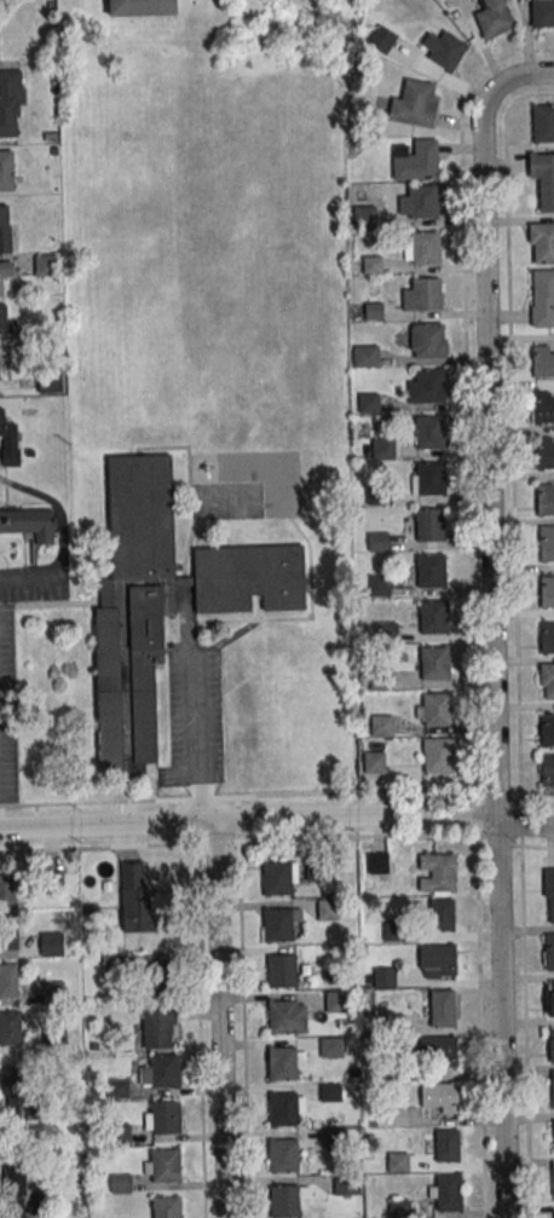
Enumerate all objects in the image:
building: (140, 7)
building: (542, 13)
building: (494, 17)
building: (434, 51)
building: (10, 100)
building: (414, 103)
building: (543, 123)
building: (415, 160)
building: (6, 171)
building: (543, 178)
building: (422, 201)
building: (4, 227)
building: (542, 242)
building: (425, 248)
building: (46, 265)
building: (5, 272)
building: (426, 294)
building: (542, 298)
building: (6, 327)
building: (428, 339)
building: (365, 356)
building: (542, 360)
building: (48, 383)
building: (428, 385)
building: (369, 403)
building: (543, 406)
building: (429, 432)
building: (8, 441)
building: (382, 448)
building: (544, 452)
building: (431, 478)
building: (544, 498)
road: (58, 509)
building: (28, 523)
building: (429, 524)
building: (377, 542)
building: (547, 544)
building: (431, 570)
road: (29, 578)
building: (379, 584)
building: (547, 590)
building: (163, 602)
building: (433, 616)
road: (491, 620)
building: (547, 637)
building: (434, 663)
building: (546, 681)
building: (437, 709)
parking lot: (194, 715)
road: (194, 722)
building: (382, 725)
building: (547, 729)
building: (438, 755)
building: (375, 762)
building: (547, 768)
road: (277, 793)
road: (277, 818)
road: (396, 835)
building: (377, 862)
building: (440, 872)
building: (277, 878)
building: (7, 889)
building: (549, 890)
building: (135, 896)
building: (328, 908)
building: (442, 913)
building: (278, 924)
building: (393, 930)
building: (8, 933)
building: (51, 943)
building: (549, 953)
building: (437, 960)
building: (281, 969)
building: (160, 977)
building: (385, 977)
building: (8, 980)
building: (53, 992)
building: (552, 997)
building: (336, 1001)
building: (443, 1008)
building: (282, 1017)
road: (220, 1020)
building: (10, 1027)
road: (243, 1029)
building: (156, 1031)
building: (56, 1039)
building: (552, 1045)
building: (331, 1047)
building: (438, 1052)
building: (283, 1063)
building: (165, 1072)
building: (12, 1083)
building: (553, 1087)
building: (329, 1091)
building: (439, 1097)
building: (283, 1108)
building: (396, 1115)
building: (165, 1116)
road: (202, 1120)
building: (553, 1135)
building: (444, 1145)
building: (284, 1156)
building: (398, 1161)
building: (165, 1165)
building: (553, 1179)
building: (120, 1183)
building: (19, 1185)
building: (446, 1191)
building: (284, 1201)
building: (166, 1206)
building: (399, 1208)

